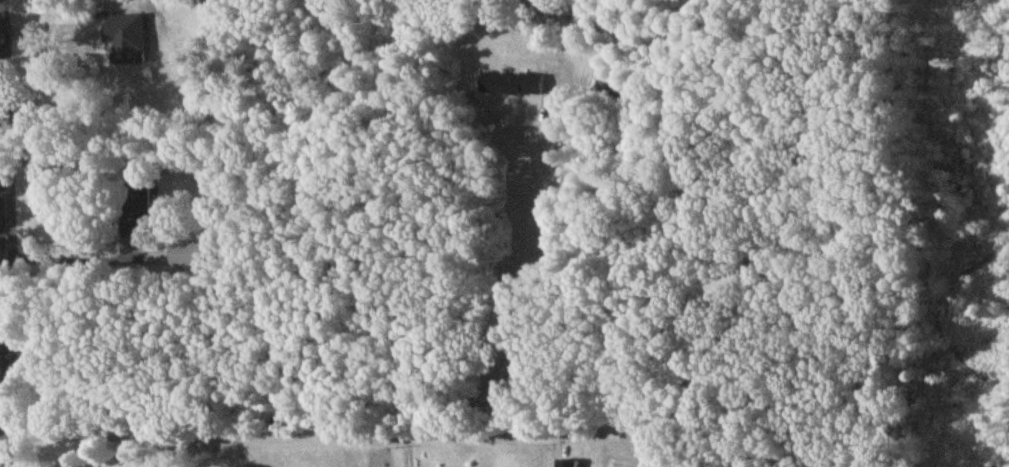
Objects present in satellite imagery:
road: (0, 7)
building: (139, 212)
road: (7, 233)
road: (76, 242)
building: (190, 257)
road: (536, 283)
road: (6, 424)
road: (266, 444)
road: (223, 456)

